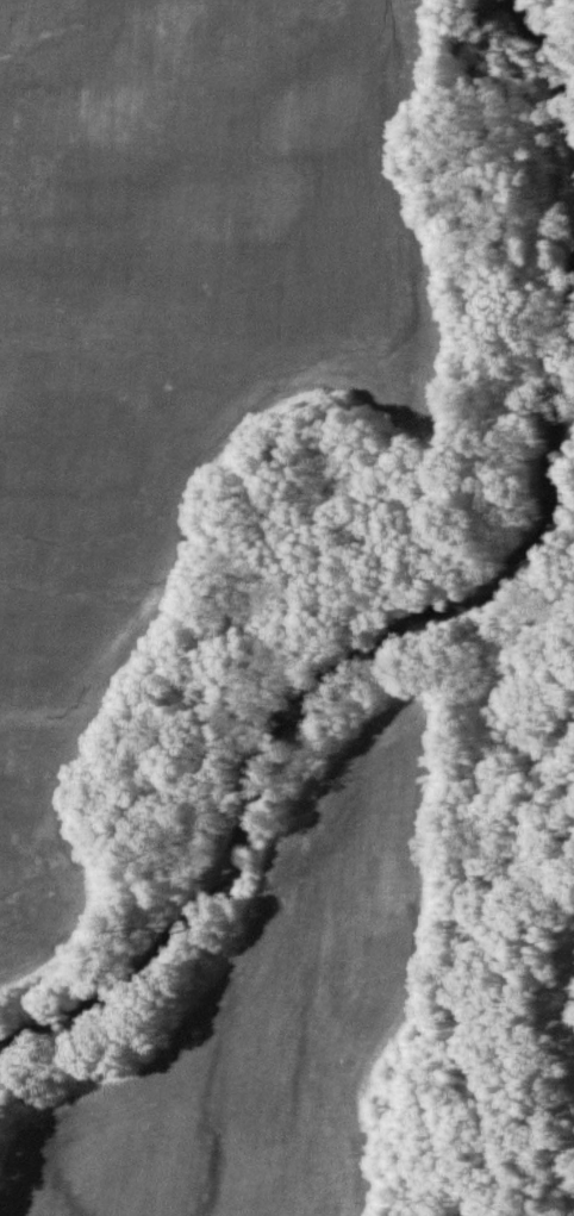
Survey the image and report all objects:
river: (454, 605)

